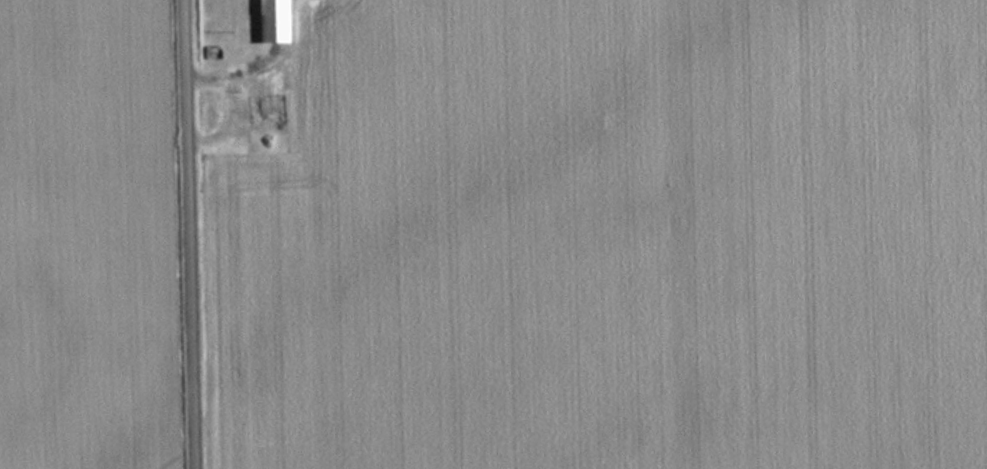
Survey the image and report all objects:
building: (263, 27)
road: (193, 234)

